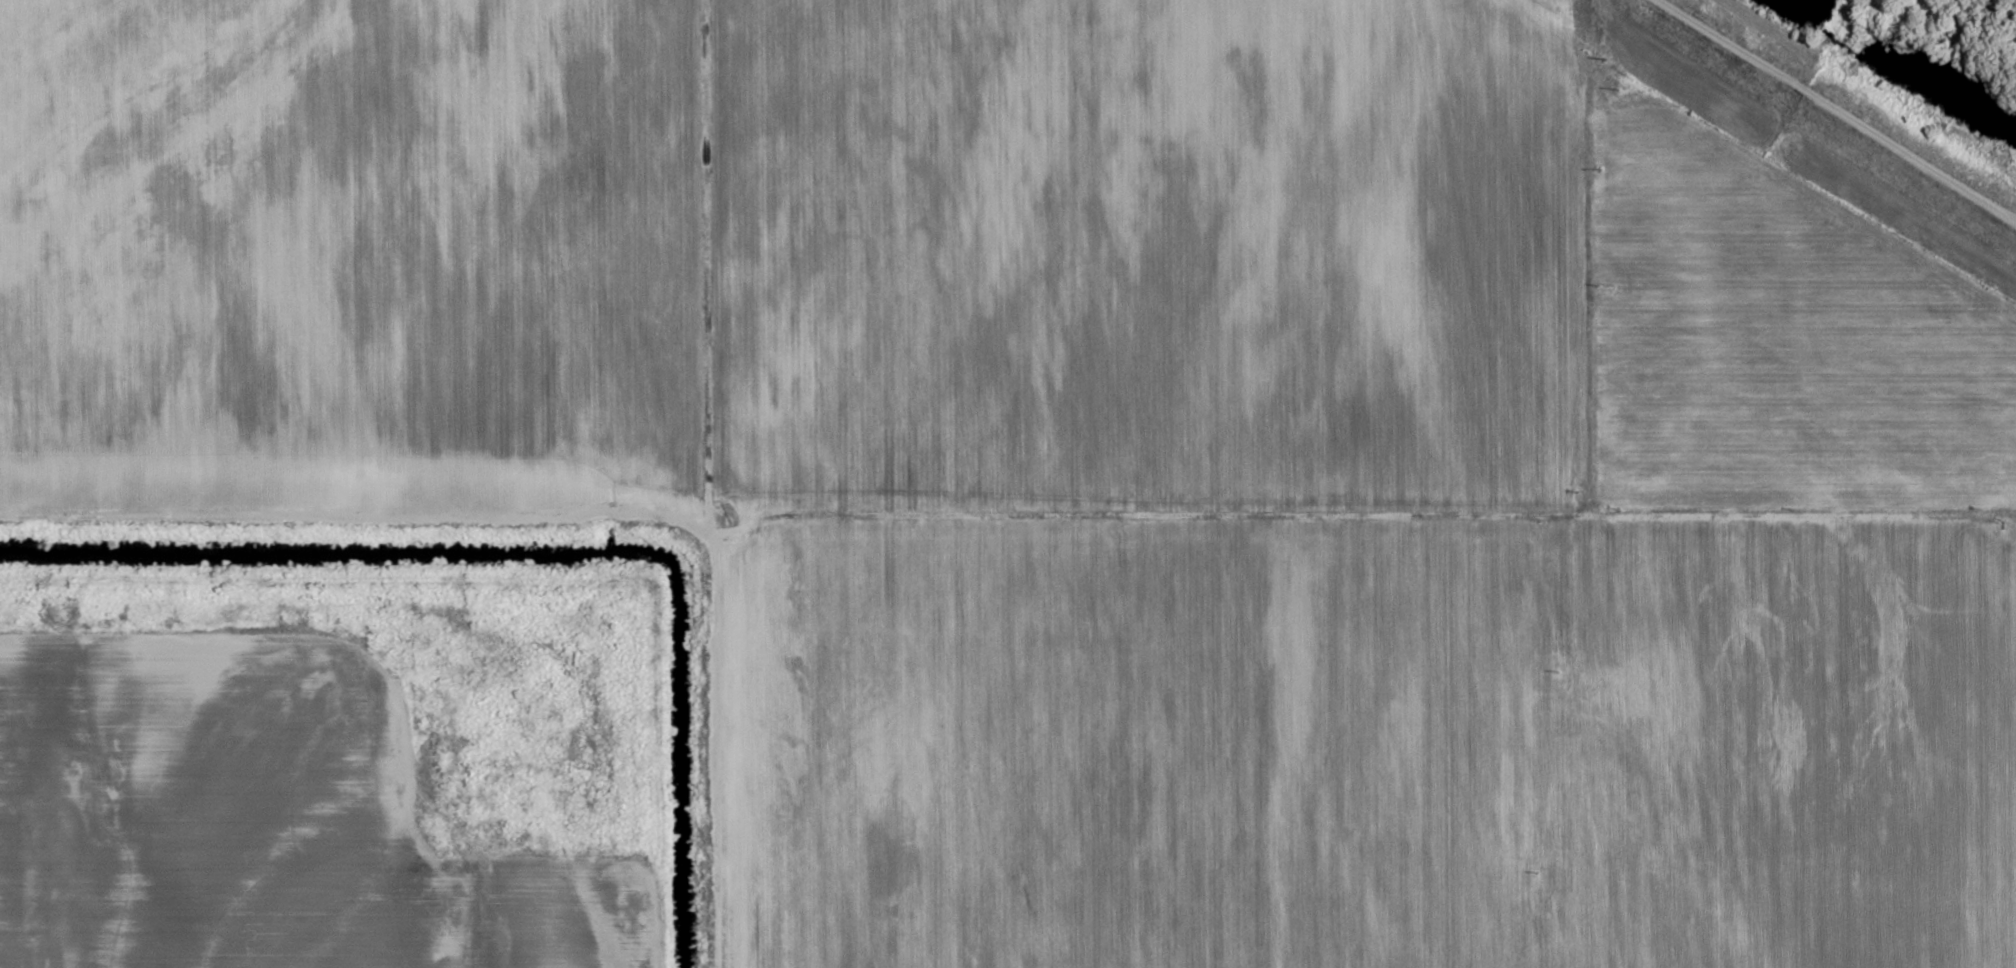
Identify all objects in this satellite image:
road: (1833, 112)
road: (701, 261)
road: (44, 485)
road: (622, 514)

